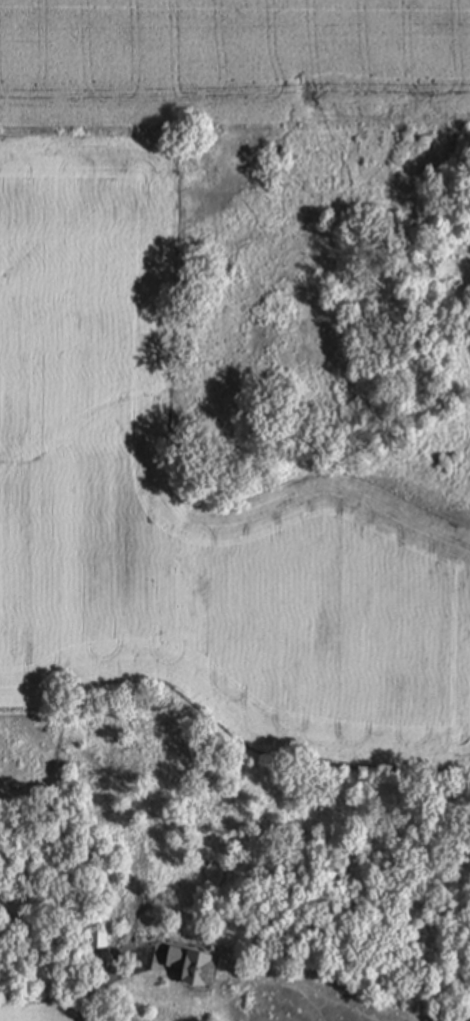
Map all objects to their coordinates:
building: (193, 967)
road: (80, 1017)

